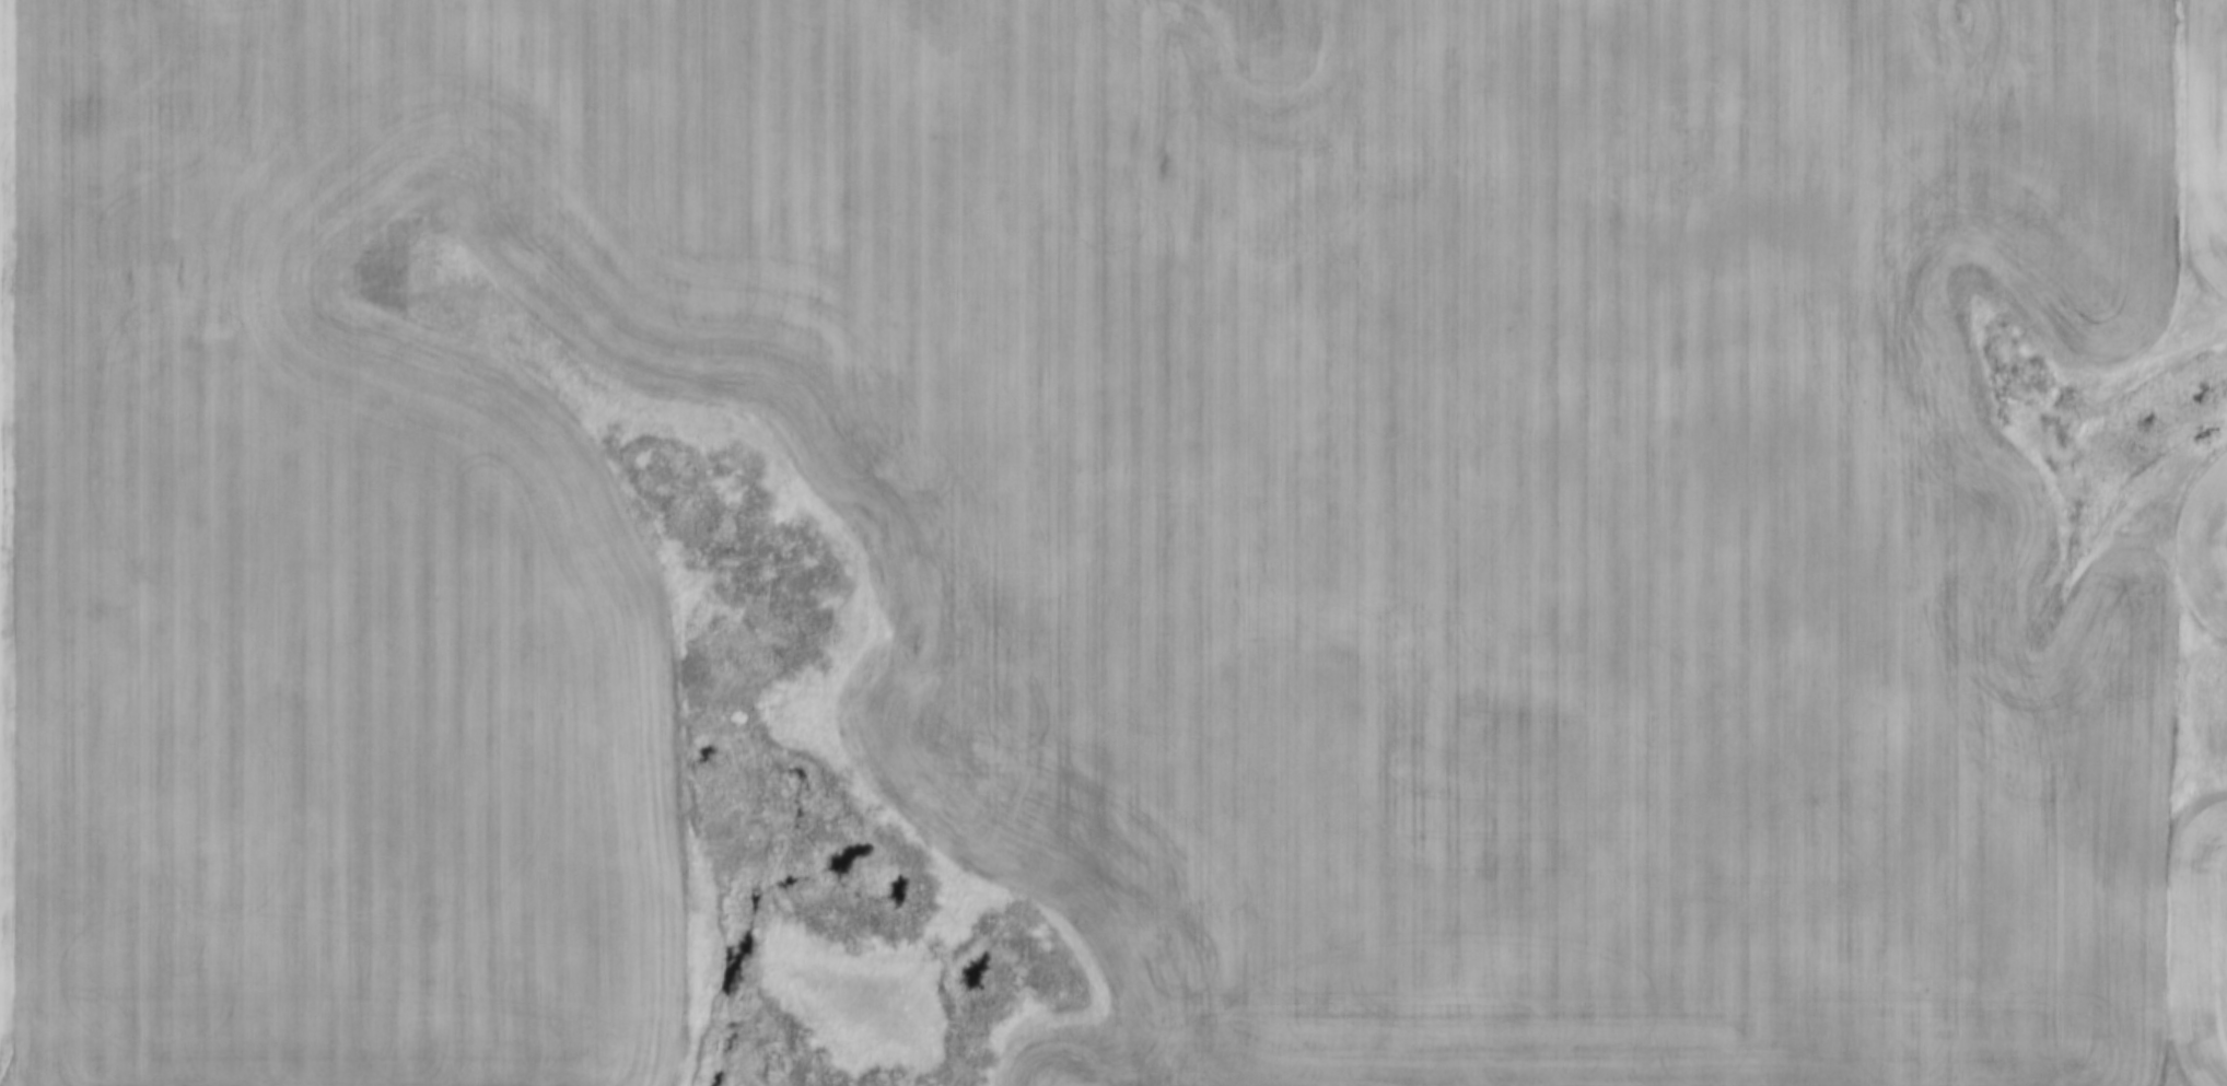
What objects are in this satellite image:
road: (2188, 143)

